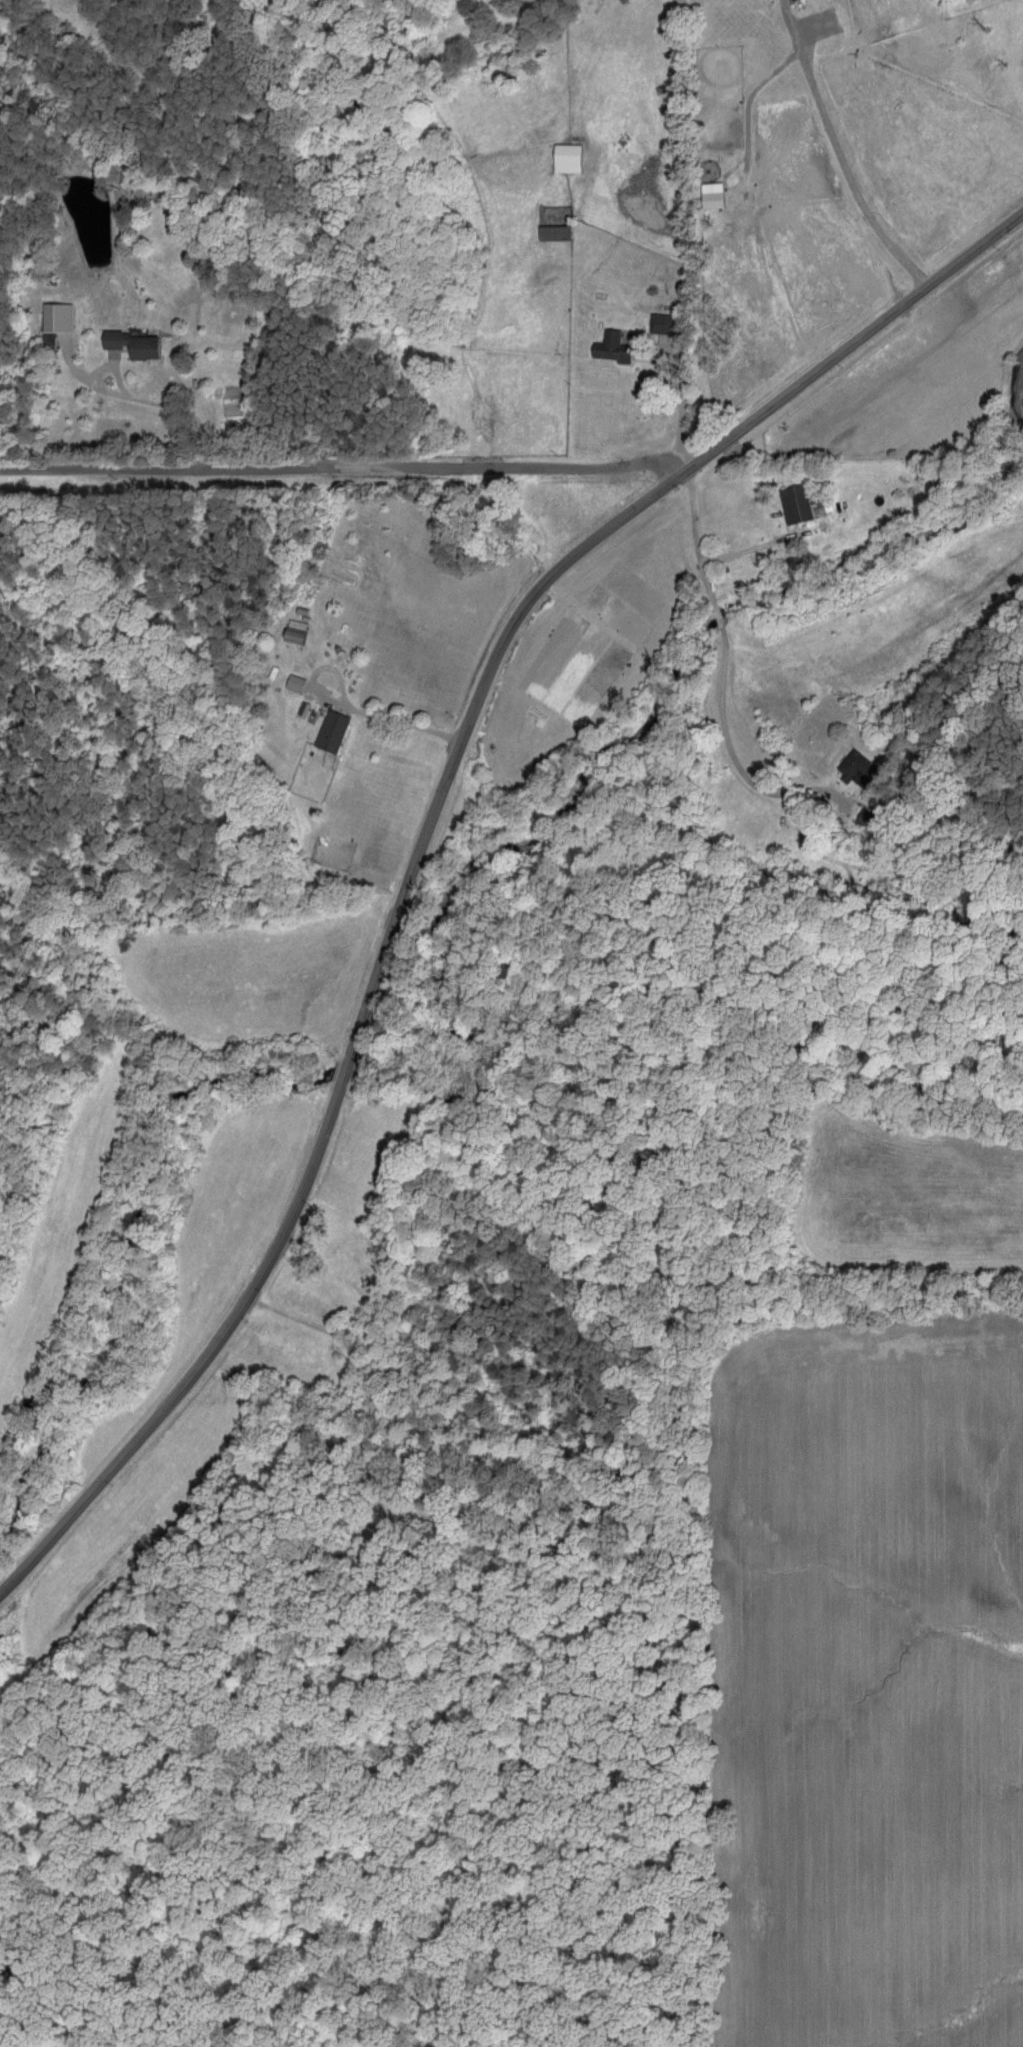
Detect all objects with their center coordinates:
road: (838, 150)
building: (567, 157)
building: (712, 195)
building: (555, 232)
building: (58, 315)
building: (660, 322)
building: (135, 342)
building: (610, 345)
road: (173, 407)
road: (347, 468)
building: (796, 502)
road: (722, 659)
building: (294, 682)
road: (404, 717)
building: (332, 729)
building: (857, 767)
building: (868, 817)
road: (430, 827)

